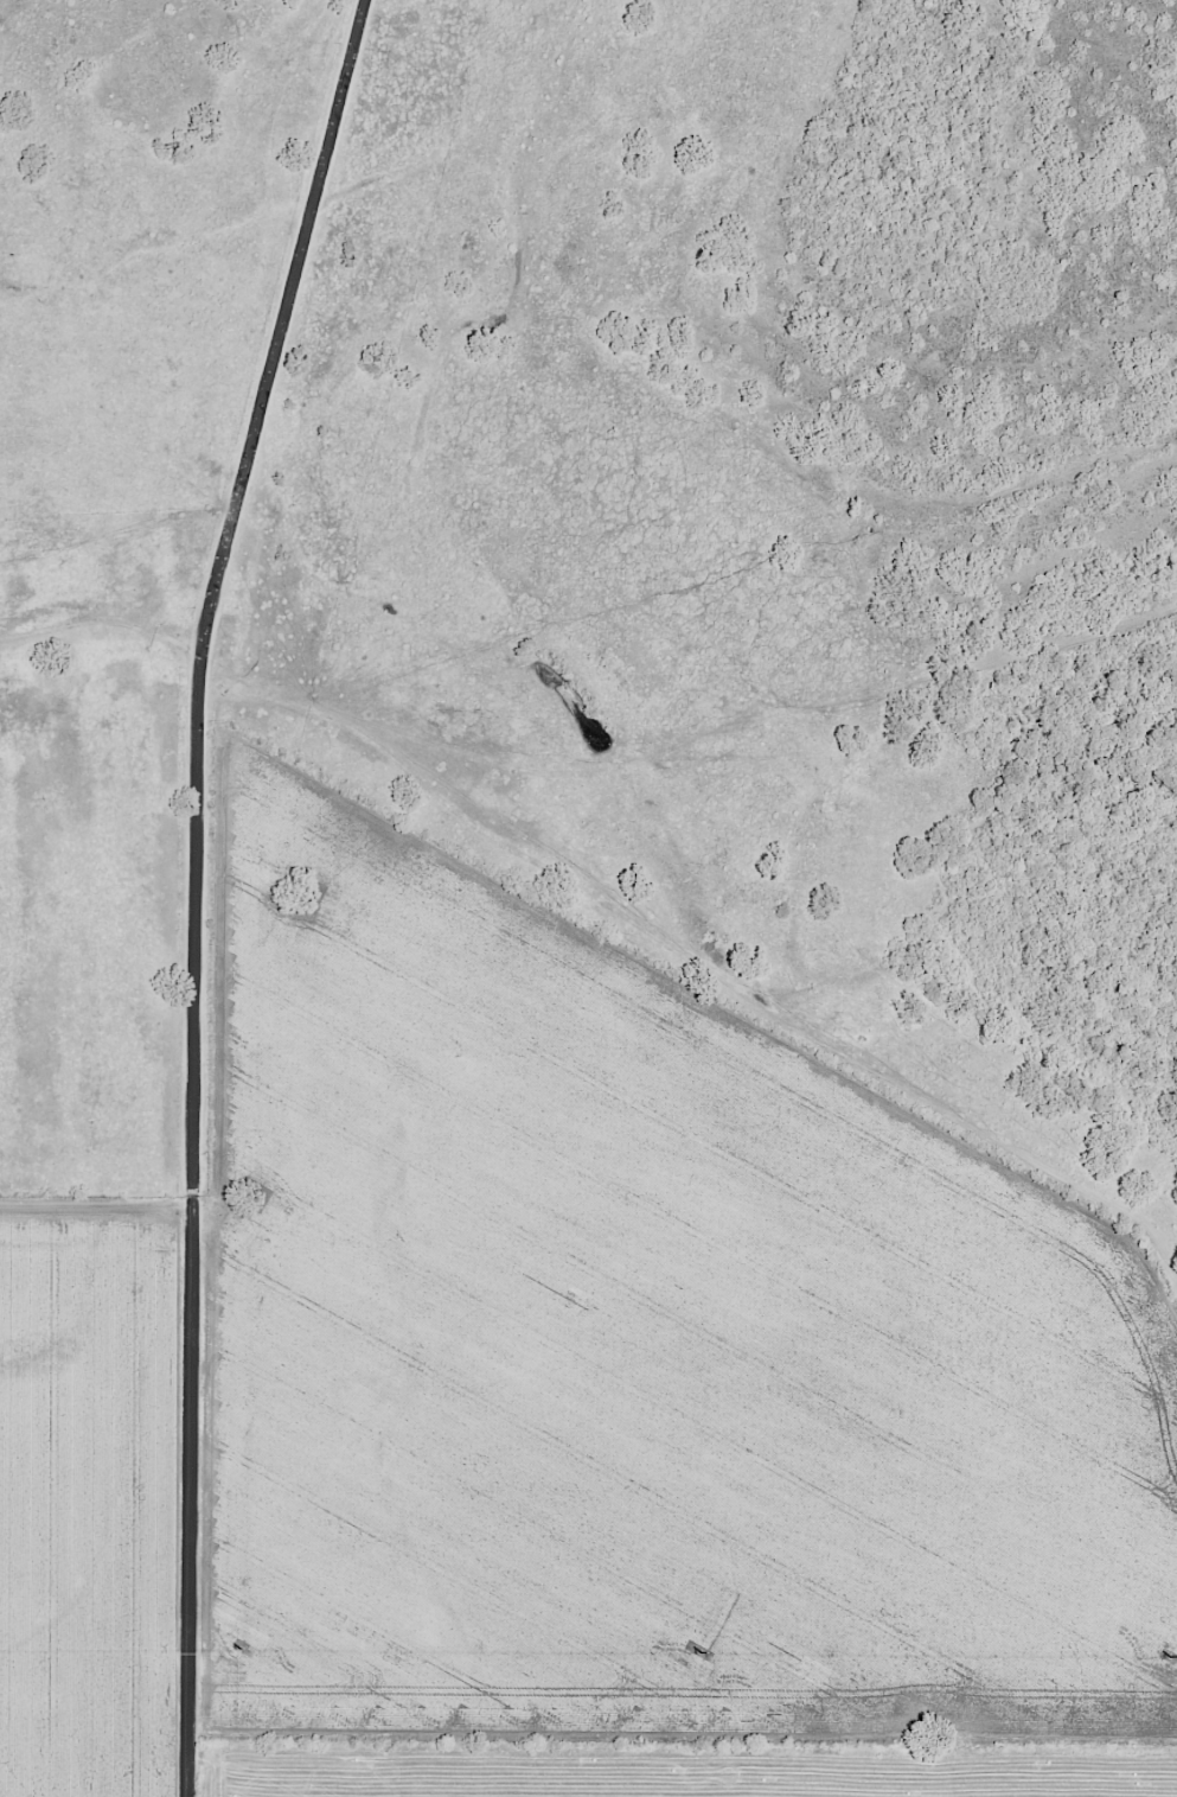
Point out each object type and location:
road: (597, 775)
road: (198, 888)
power tower: (239, 1648)
power tower: (705, 1650)
power tower: (1172, 1653)

